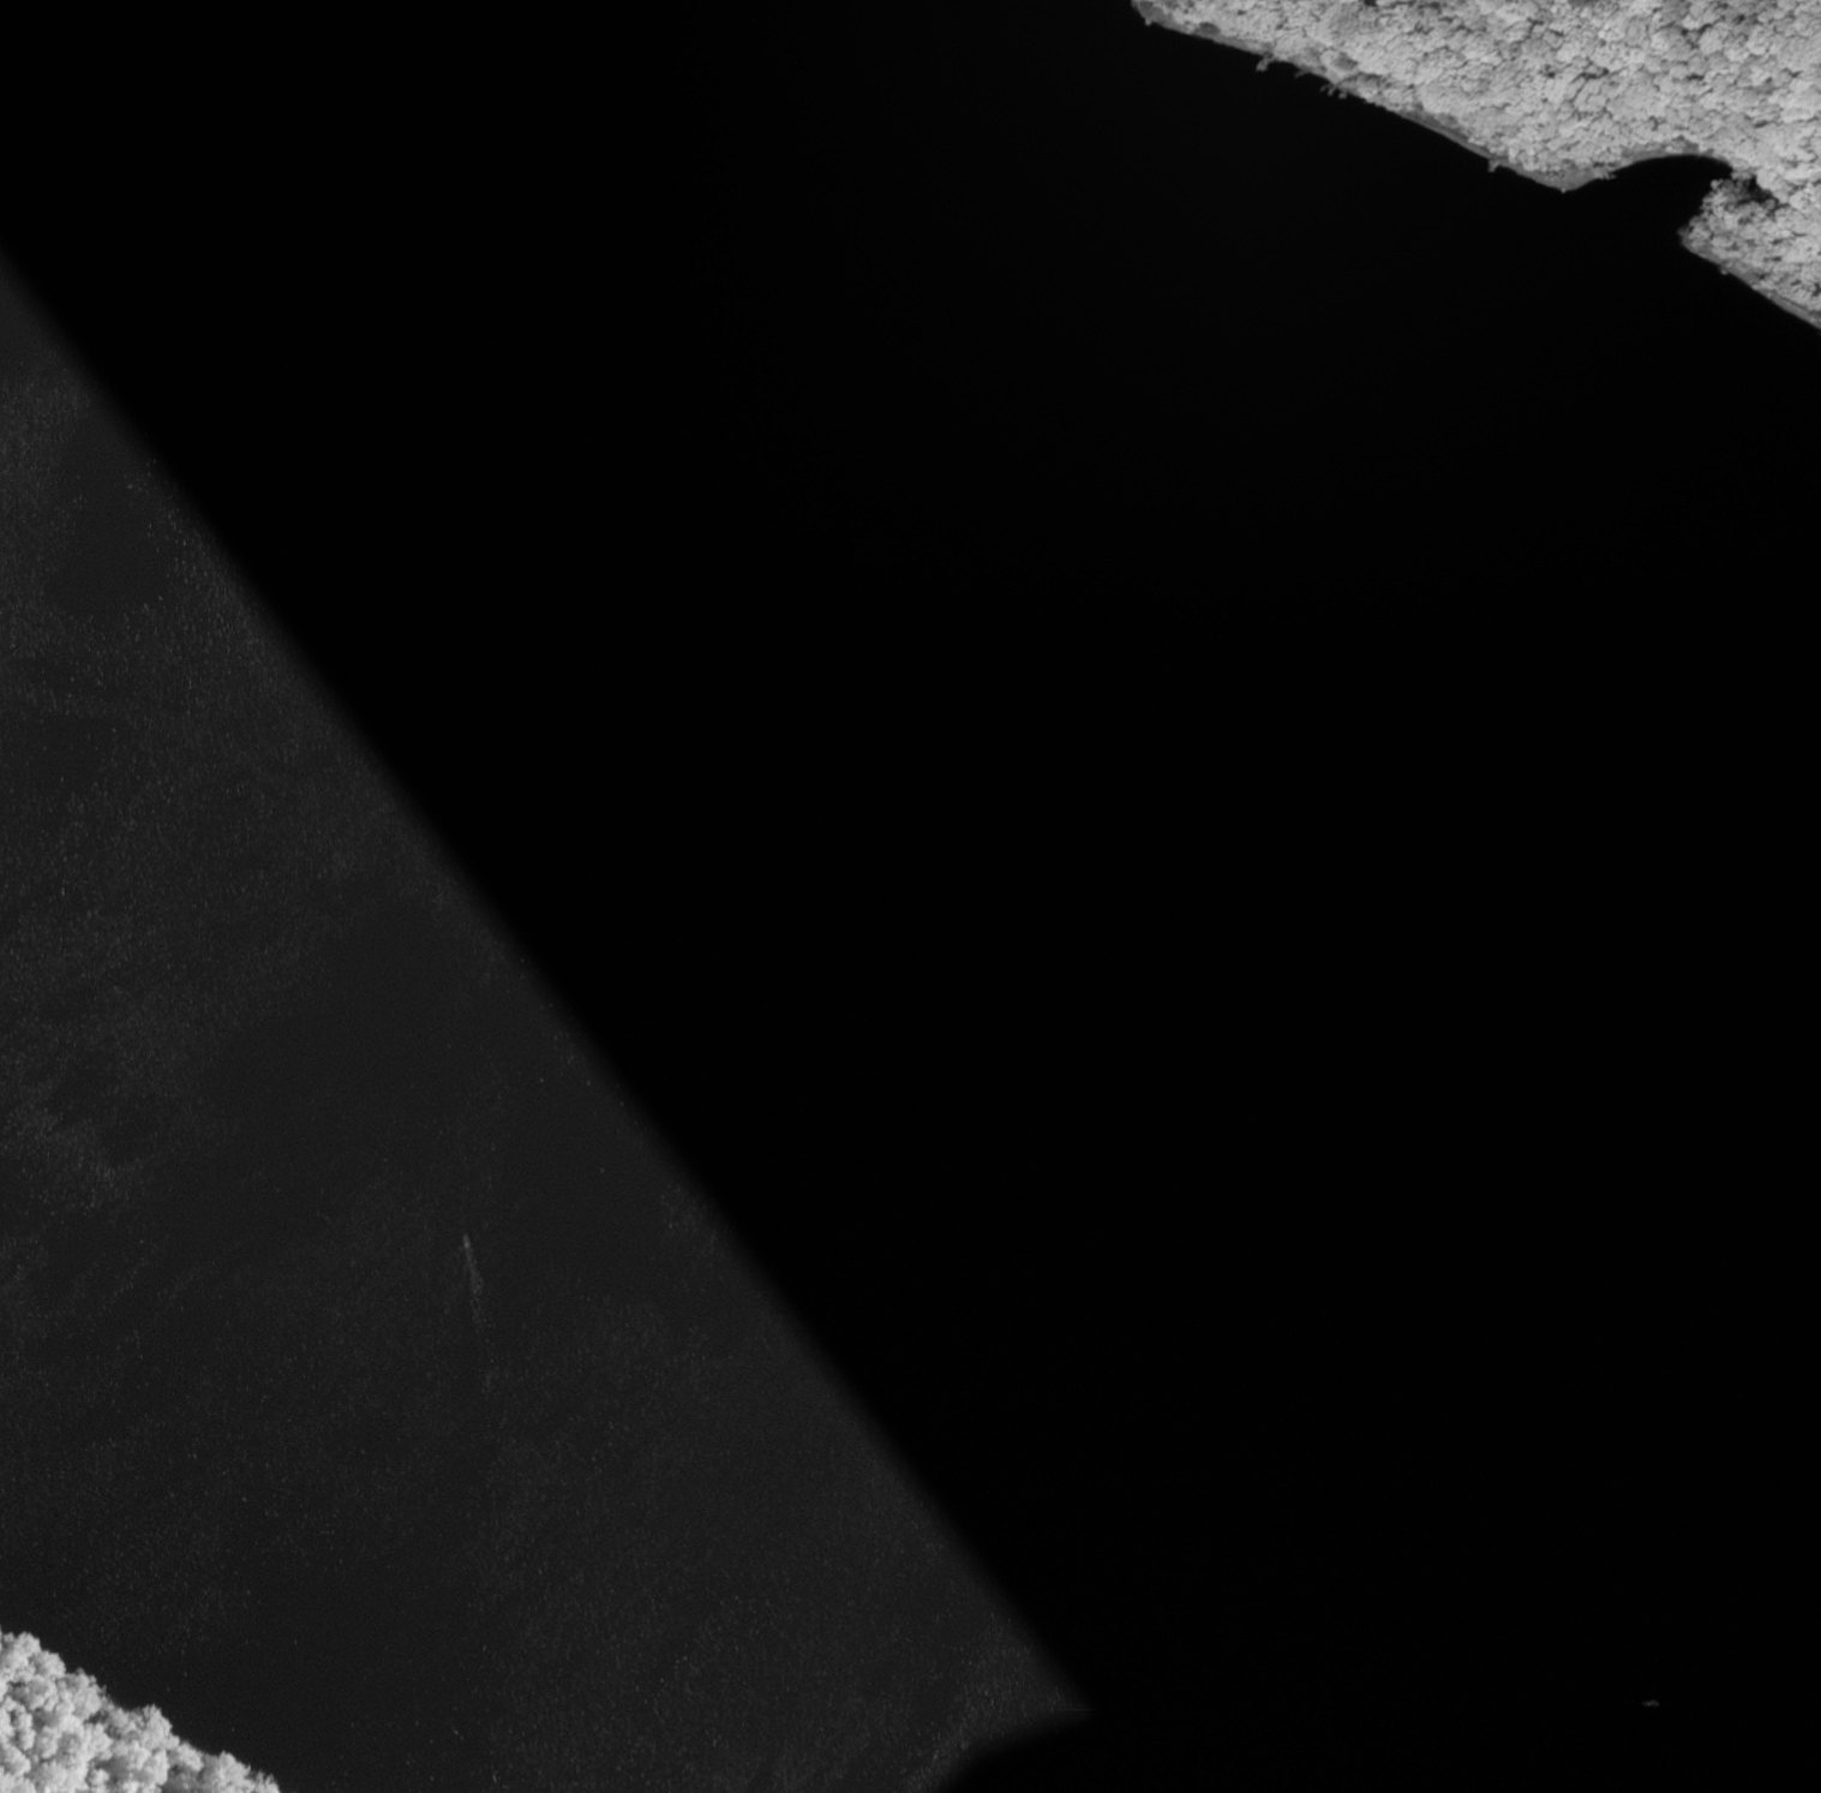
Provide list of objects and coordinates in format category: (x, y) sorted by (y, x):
park: (85, 1738)

